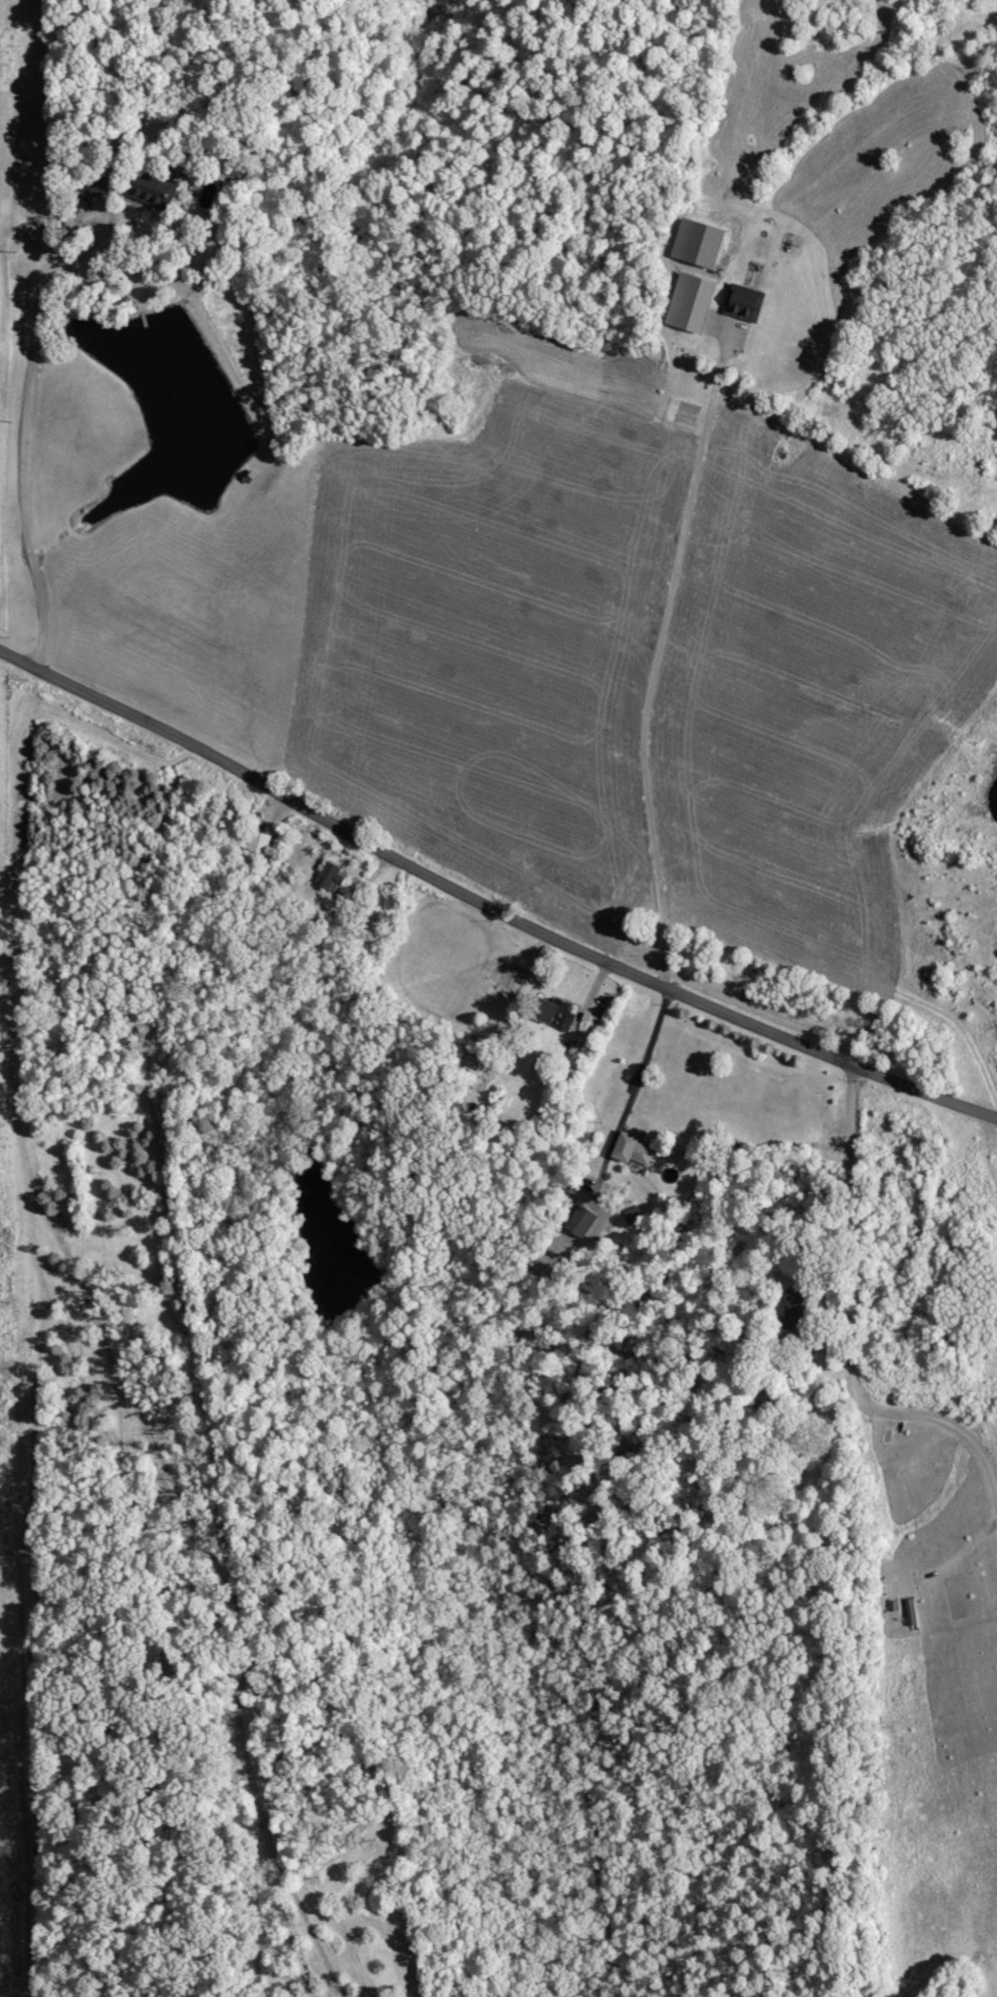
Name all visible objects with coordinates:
building: (156, 188)
building: (700, 243)
building: (693, 302)
building: (745, 304)
road: (21, 445)
building: (259, 842)
building: (332, 875)
road: (489, 902)
building: (556, 1013)
road: (642, 1056)
building: (634, 1148)
building: (585, 1219)
building: (797, 1302)
road: (847, 1338)
power tower: (0, 1823)

